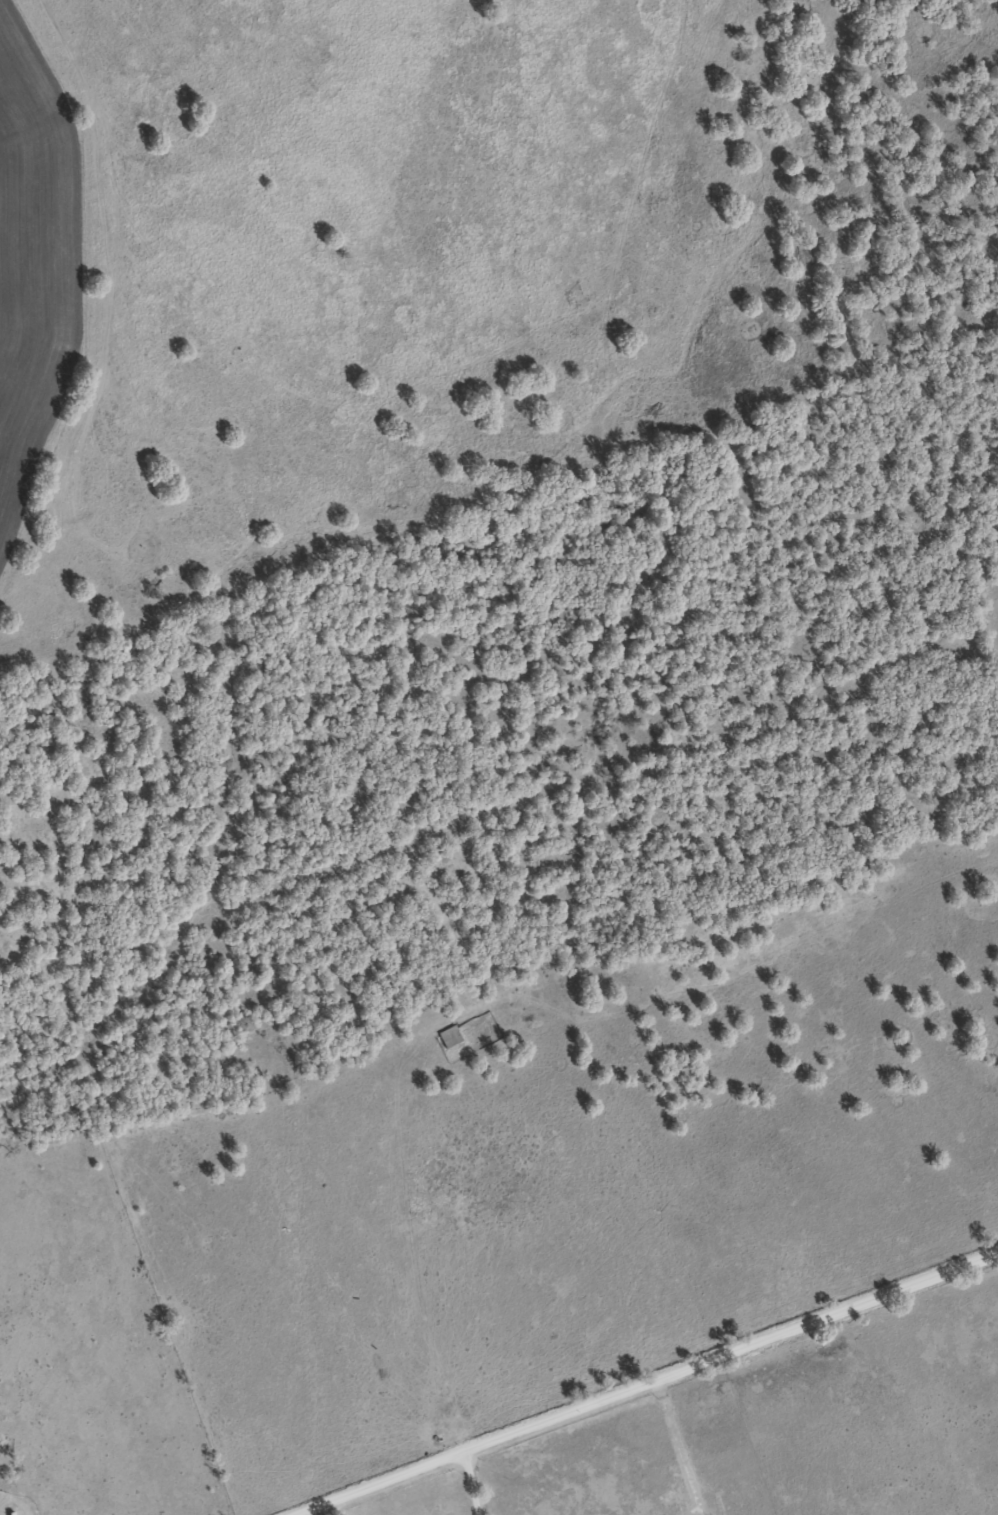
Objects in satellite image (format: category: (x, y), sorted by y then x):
building: (449, 1036)
road: (876, 1290)
road: (510, 1425)
road: (793, 1425)

